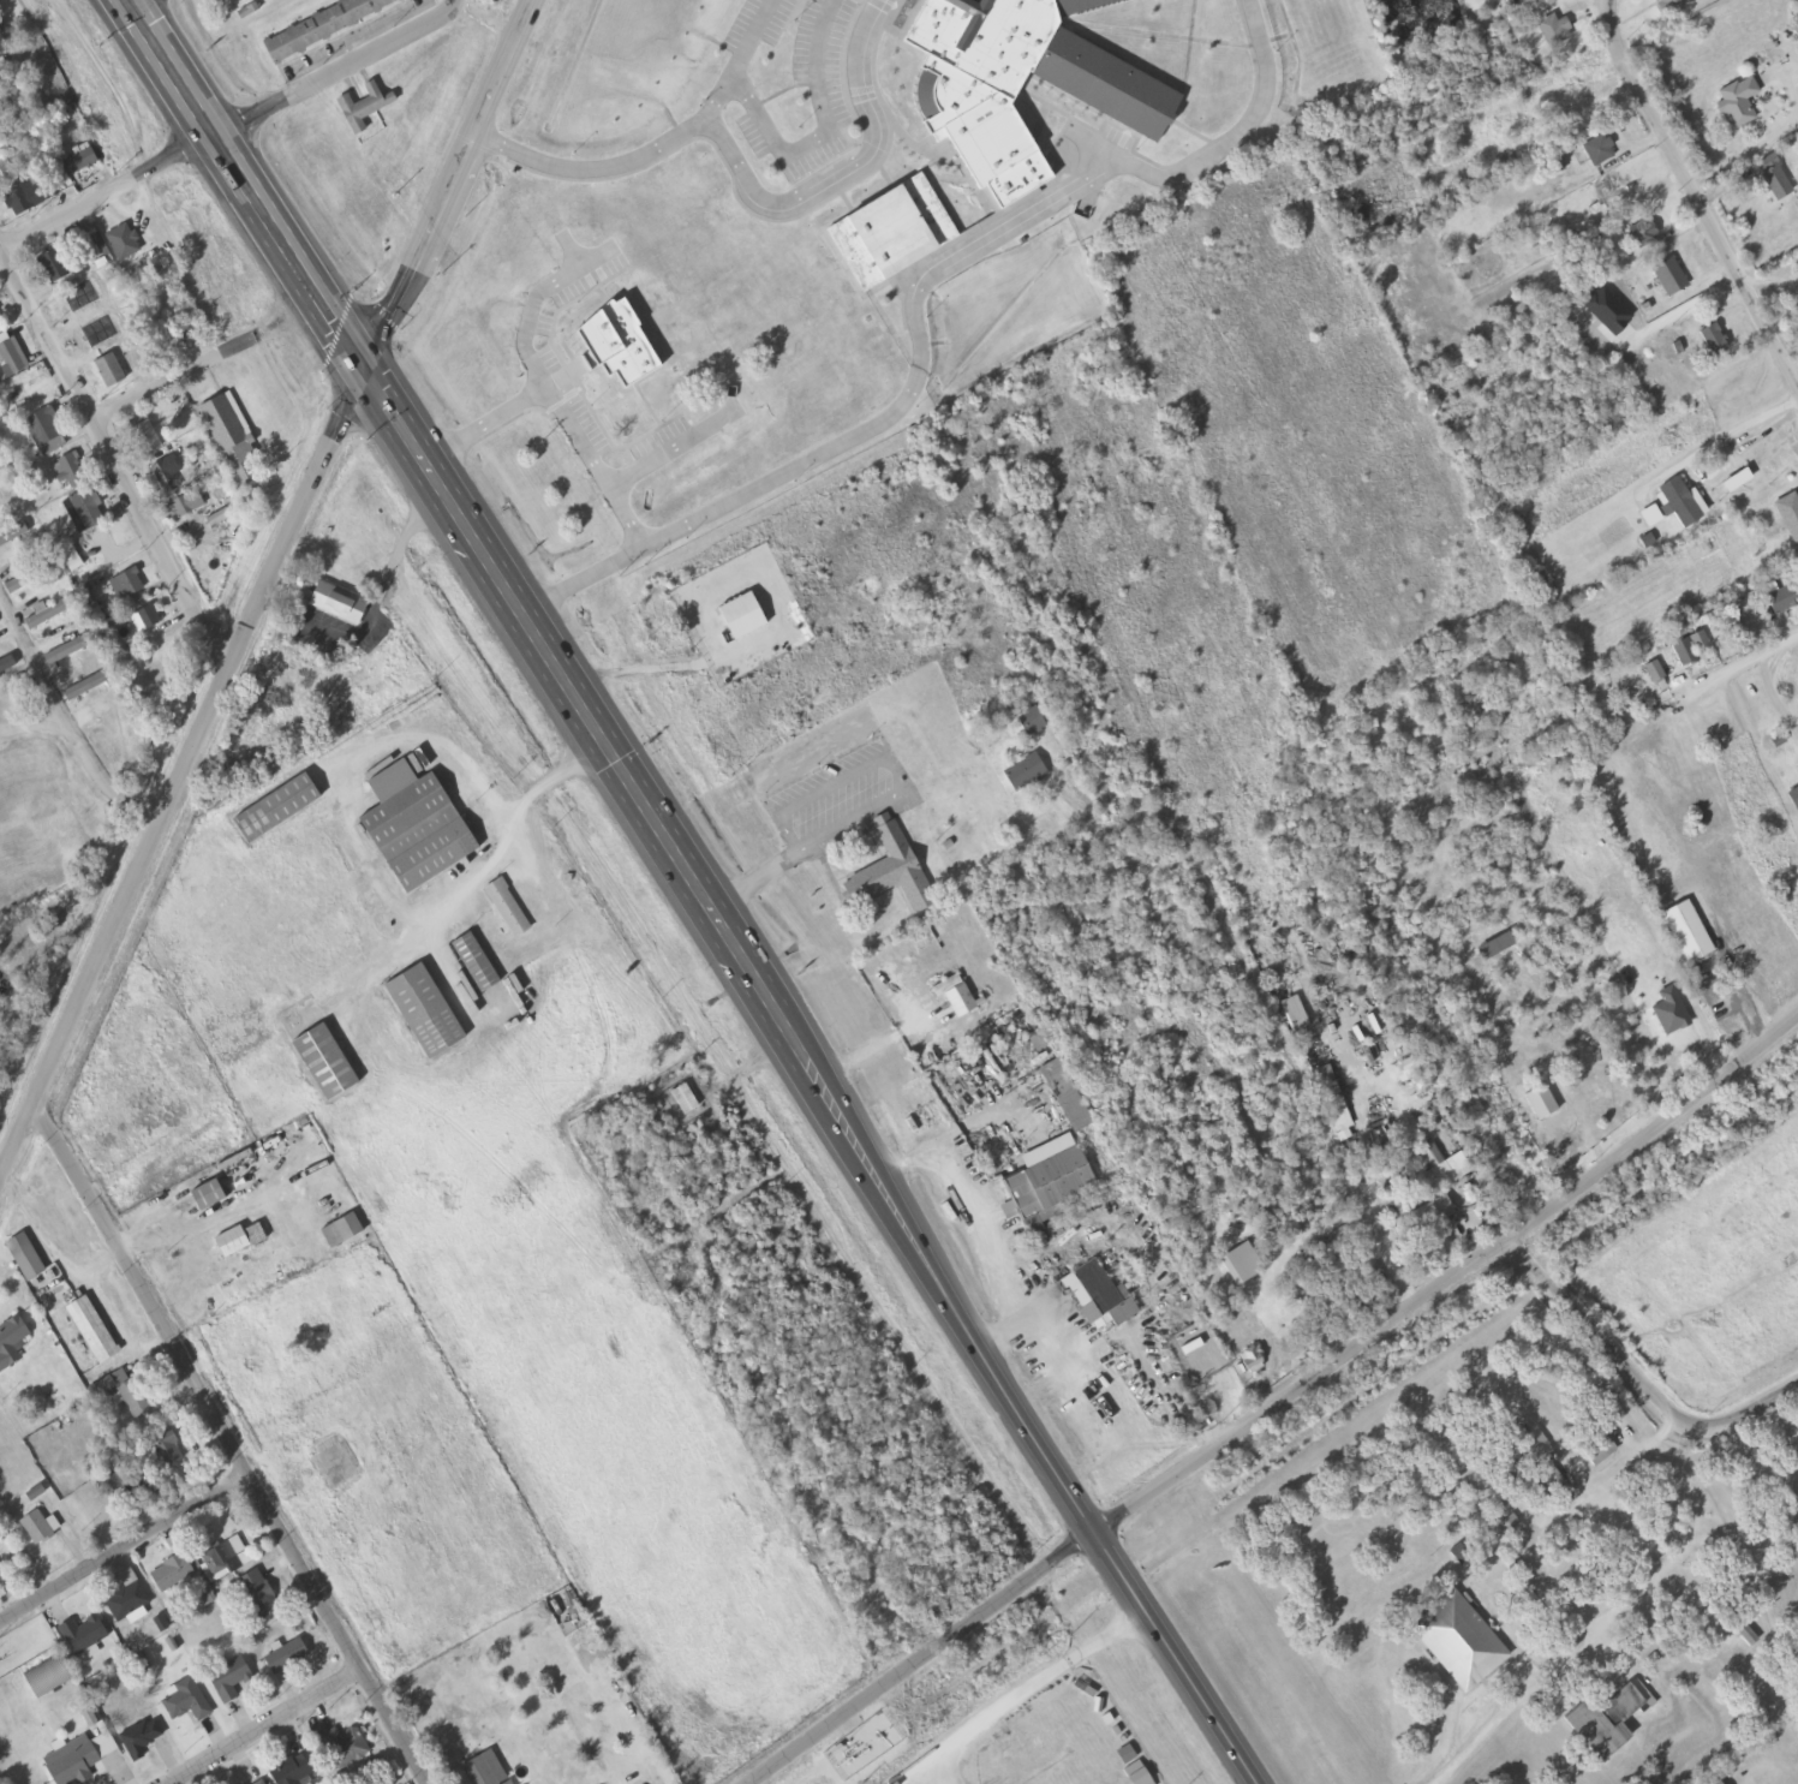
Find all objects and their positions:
road: (123, 0)
building: (231, 0)
building: (255, 0)
building: (1672, 6)
building: (324, 26)
building: (1553, 31)
road: (751, 60)
building: (1034, 86)
building: (1737, 103)
building: (364, 108)
road: (237, 129)
road: (838, 136)
building: (1596, 151)
building: (82, 163)
road: (758, 179)
building: (1774, 179)
road: (245, 187)
road: (458, 187)
road: (1696, 189)
building: (28, 197)
building: (661, 211)
building: (1644, 233)
building: (907, 237)
building: (125, 244)
building: (54, 268)
building: (1668, 278)
road: (924, 310)
building: (1, 327)
building: (1713, 340)
building: (633, 351)
building: (10, 362)
road: (205, 364)
building: (110, 372)
traffic signals: (371, 375)
road: (560, 388)
road: (494, 426)
building: (47, 432)
building: (145, 438)
building: (232, 440)
road: (688, 451)
building: (1, 457)
road: (112, 459)
building: (72, 472)
building: (165, 478)
building: (2, 496)
building: (191, 501)
building: (88, 509)
building: (675, 509)
building: (1788, 515)
building: (13, 535)
building: (32, 577)
building: (131, 585)
building: (1780, 596)
building: (351, 608)
building: (50, 614)
building: (740, 616)
building: (145, 620)
building: (70, 650)
building: (1690, 650)
building: (7, 666)
building: (1653, 672)
building: (90, 685)
road: (574, 700)
building: (1031, 721)
road: (28, 726)
road: (67, 730)
building: (1025, 772)
road: (187, 775)
building: (1793, 798)
building: (276, 806)
building: (414, 825)
building: (896, 870)
building: (506, 905)
building: (474, 960)
building: (957, 996)
building: (424, 1009)
building: (1294, 1014)
building: (324, 1060)
building: (1064, 1096)
building: (686, 1099)
building: (1332, 1099)
road: (1659, 1132)
building: (1440, 1170)
building: (1047, 1183)
building: (209, 1197)
building: (1428, 1215)
building: (344, 1233)
building: (241, 1240)
building: (24, 1254)
road: (138, 1289)
building: (1095, 1296)
building: (92, 1327)
building: (11, 1340)
building: (1250, 1361)
road: (1637, 1382)
road: (1303, 1386)
building: (132, 1396)
road: (1015, 1406)
railway: (1328, 1443)
building: (165, 1446)
building: (1597, 1450)
building: (115, 1479)
building: (38, 1525)
road: (121, 1551)
building: (225, 1556)
building: (1459, 1556)
building: (172, 1571)
building: (257, 1592)
building: (129, 1595)
building: (563, 1606)
road: (334, 1630)
building: (83, 1634)
building: (1458, 1641)
building: (285, 1653)
road: (925, 1659)
building: (48, 1675)
building: (228, 1676)
building: (185, 1699)
building: (1796, 1719)
building: (1603, 1723)
road: (262, 1726)
building: (139, 1736)
building: (342, 1744)
building: (80, 1759)
building: (294, 1768)
building: (483, 1768)
building: (1712, 1780)
building: (258, 1782)
building: (243, 1783)

